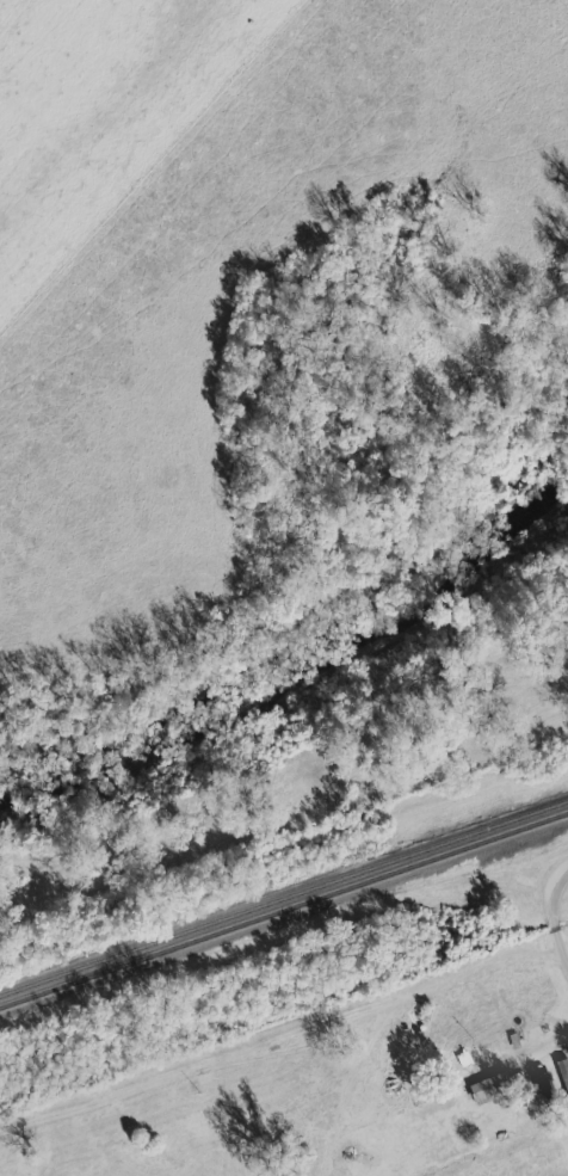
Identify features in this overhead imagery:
railway: (284, 900)
railway: (284, 911)
road: (557, 915)

